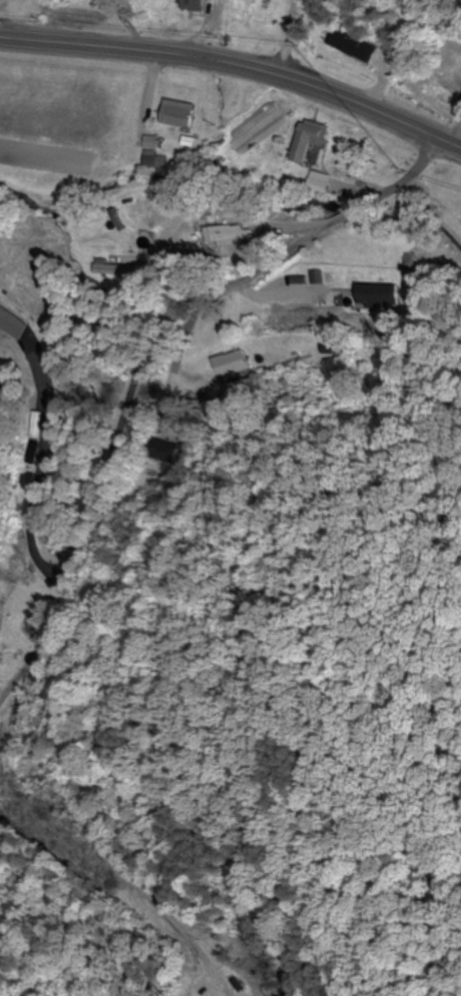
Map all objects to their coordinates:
building: (211, 0)
building: (195, 5)
building: (250, 14)
road: (285, 37)
building: (352, 46)
road: (237, 64)
building: (440, 95)
building: (179, 115)
building: (308, 138)
building: (226, 235)
road: (193, 264)
building: (115, 270)
building: (376, 294)
road: (146, 358)
building: (230, 365)
building: (160, 451)
road: (48, 497)

